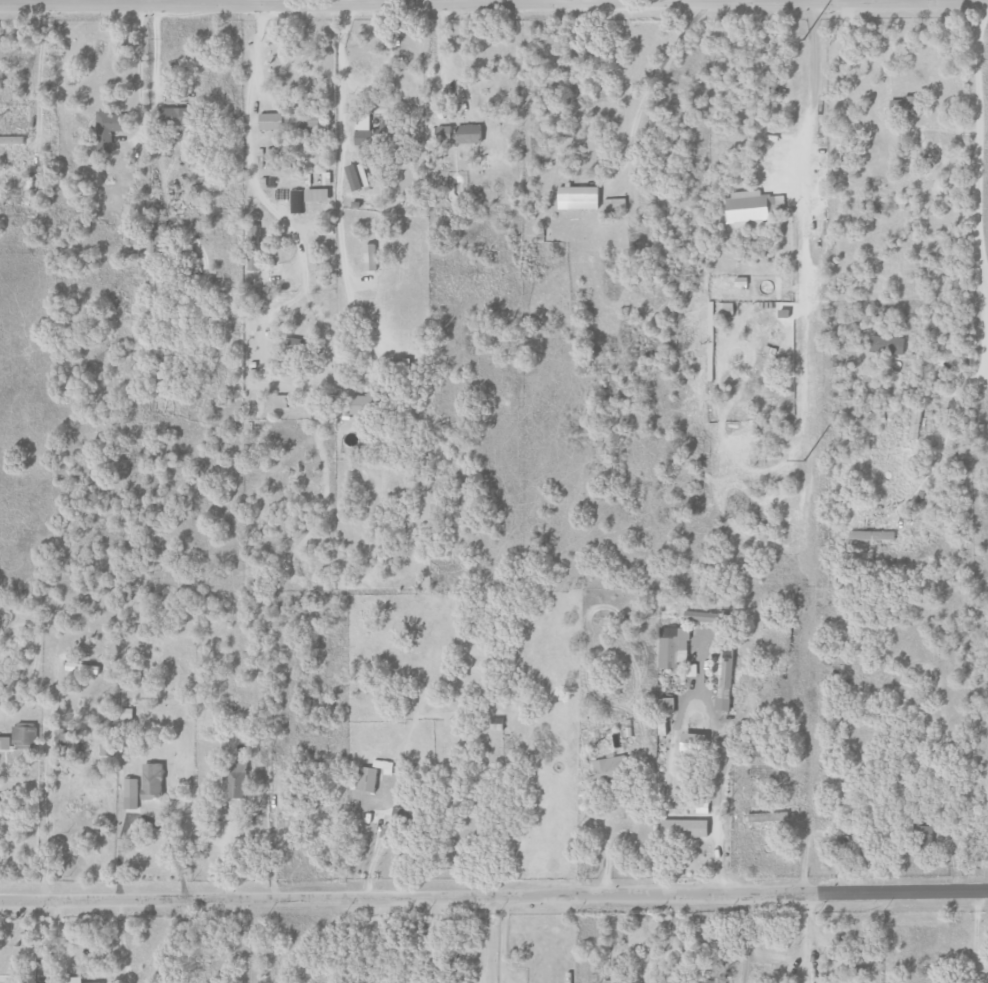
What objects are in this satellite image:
road: (827, 0)
road: (584, 1)
road: (609, 1)
road: (32, 2)
road: (70, 2)
road: (157, 2)
road: (247, 2)
road: (441, 2)
road: (501, 2)
road: (298, 3)
road: (350, 3)
road: (493, 4)
power tower: (802, 39)
road: (140, 53)
road: (809, 91)
building: (909, 105)
building: (181, 117)
building: (310, 120)
building: (273, 121)
building: (111, 126)
building: (470, 134)
building: (375, 137)
building: (12, 140)
building: (271, 153)
road: (333, 161)
building: (357, 178)
building: (318, 195)
building: (579, 198)
building: (296, 202)
road: (986, 205)
building: (614, 206)
building: (745, 207)
building: (255, 247)
building: (372, 258)
road: (298, 263)
building: (738, 281)
road: (987, 284)
building: (886, 344)
building: (340, 360)
road: (987, 373)
building: (280, 402)
building: (365, 404)
building: (260, 405)
building: (878, 416)
building: (914, 423)
road: (942, 436)
power tower: (803, 461)
building: (870, 535)
building: (702, 616)
building: (670, 647)
building: (82, 667)
building: (727, 677)
building: (496, 723)
building: (664, 727)
building: (20, 736)
building: (65, 742)
building: (106, 743)
road: (664, 745)
building: (611, 766)
building: (373, 775)
road: (44, 779)
building: (238, 779)
building: (153, 780)
road: (713, 788)
building: (131, 793)
building: (768, 818)
building: (387, 831)
building: (923, 836)
building: (858, 844)
road: (600, 848)
road: (223, 851)
road: (493, 896)
road: (17, 928)
road: (804, 938)
road: (496, 940)
road: (120, 942)
building: (75, 980)
building: (48, 981)
building: (610, 981)
building: (707, 981)
building: (100, 982)

